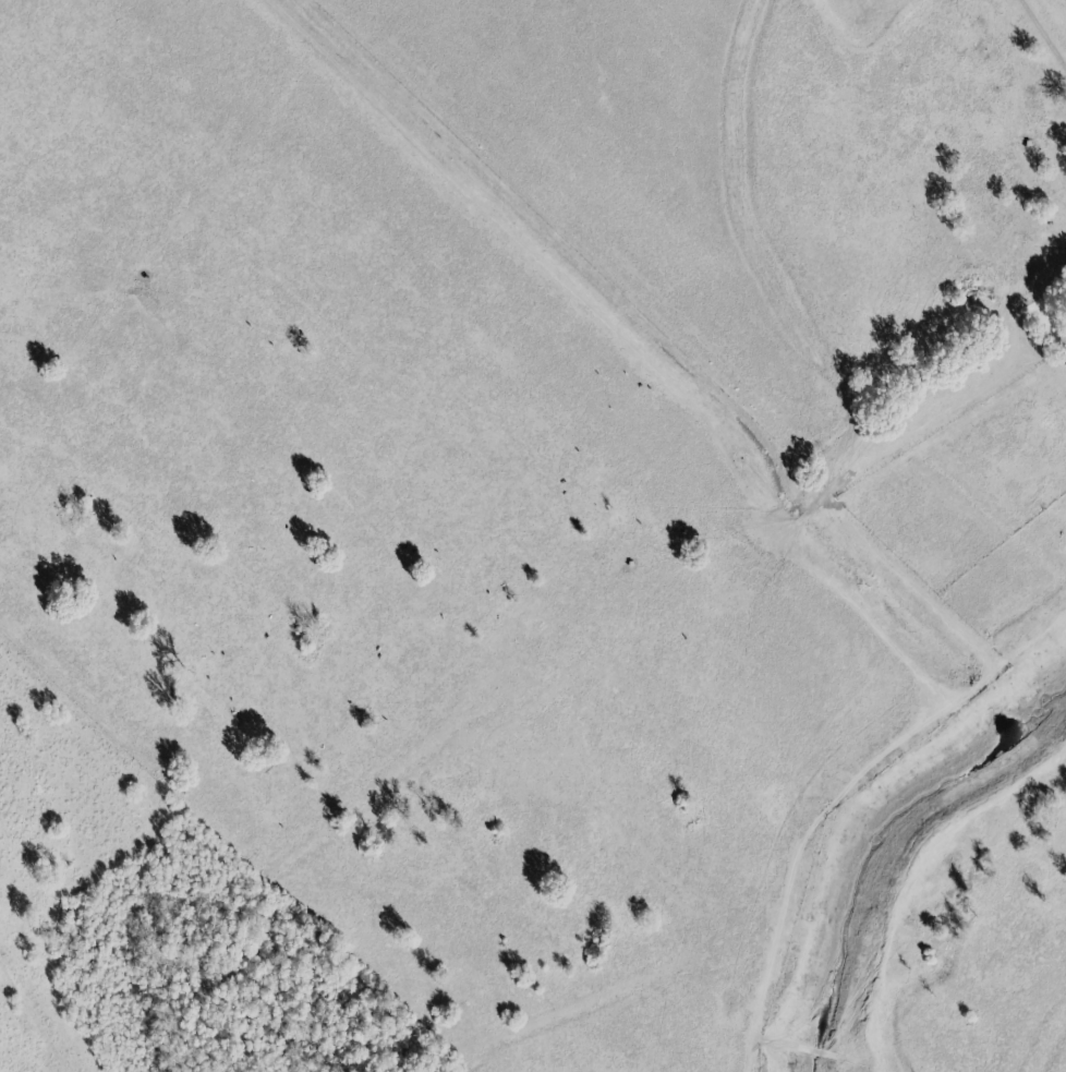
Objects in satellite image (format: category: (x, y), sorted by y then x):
road: (1049, 26)
road: (36, 1014)

